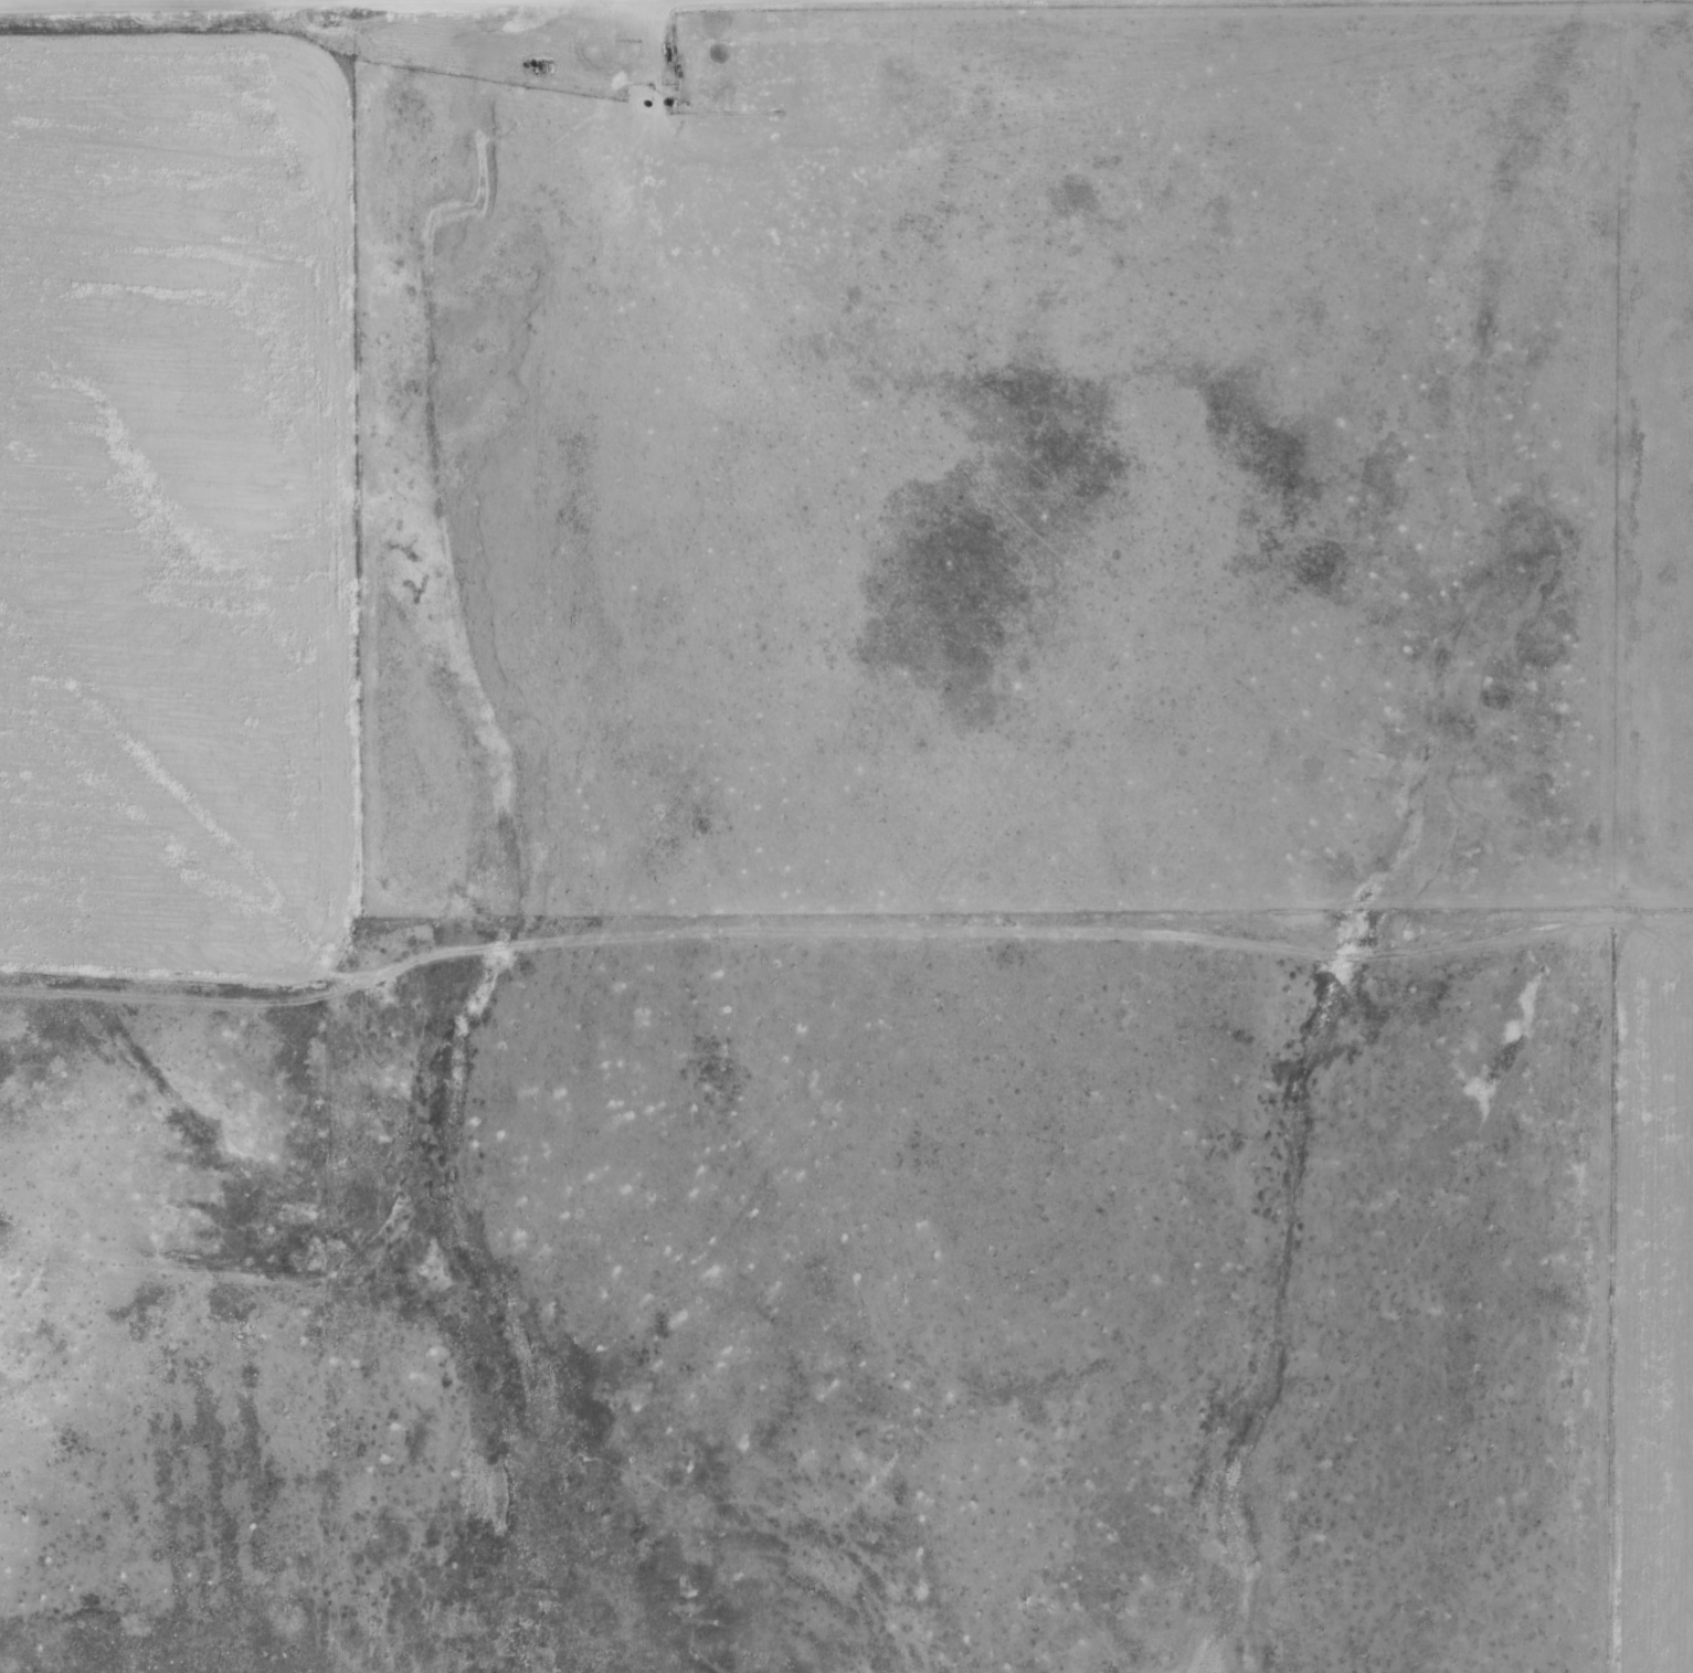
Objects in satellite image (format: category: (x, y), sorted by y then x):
road: (414, 3)

